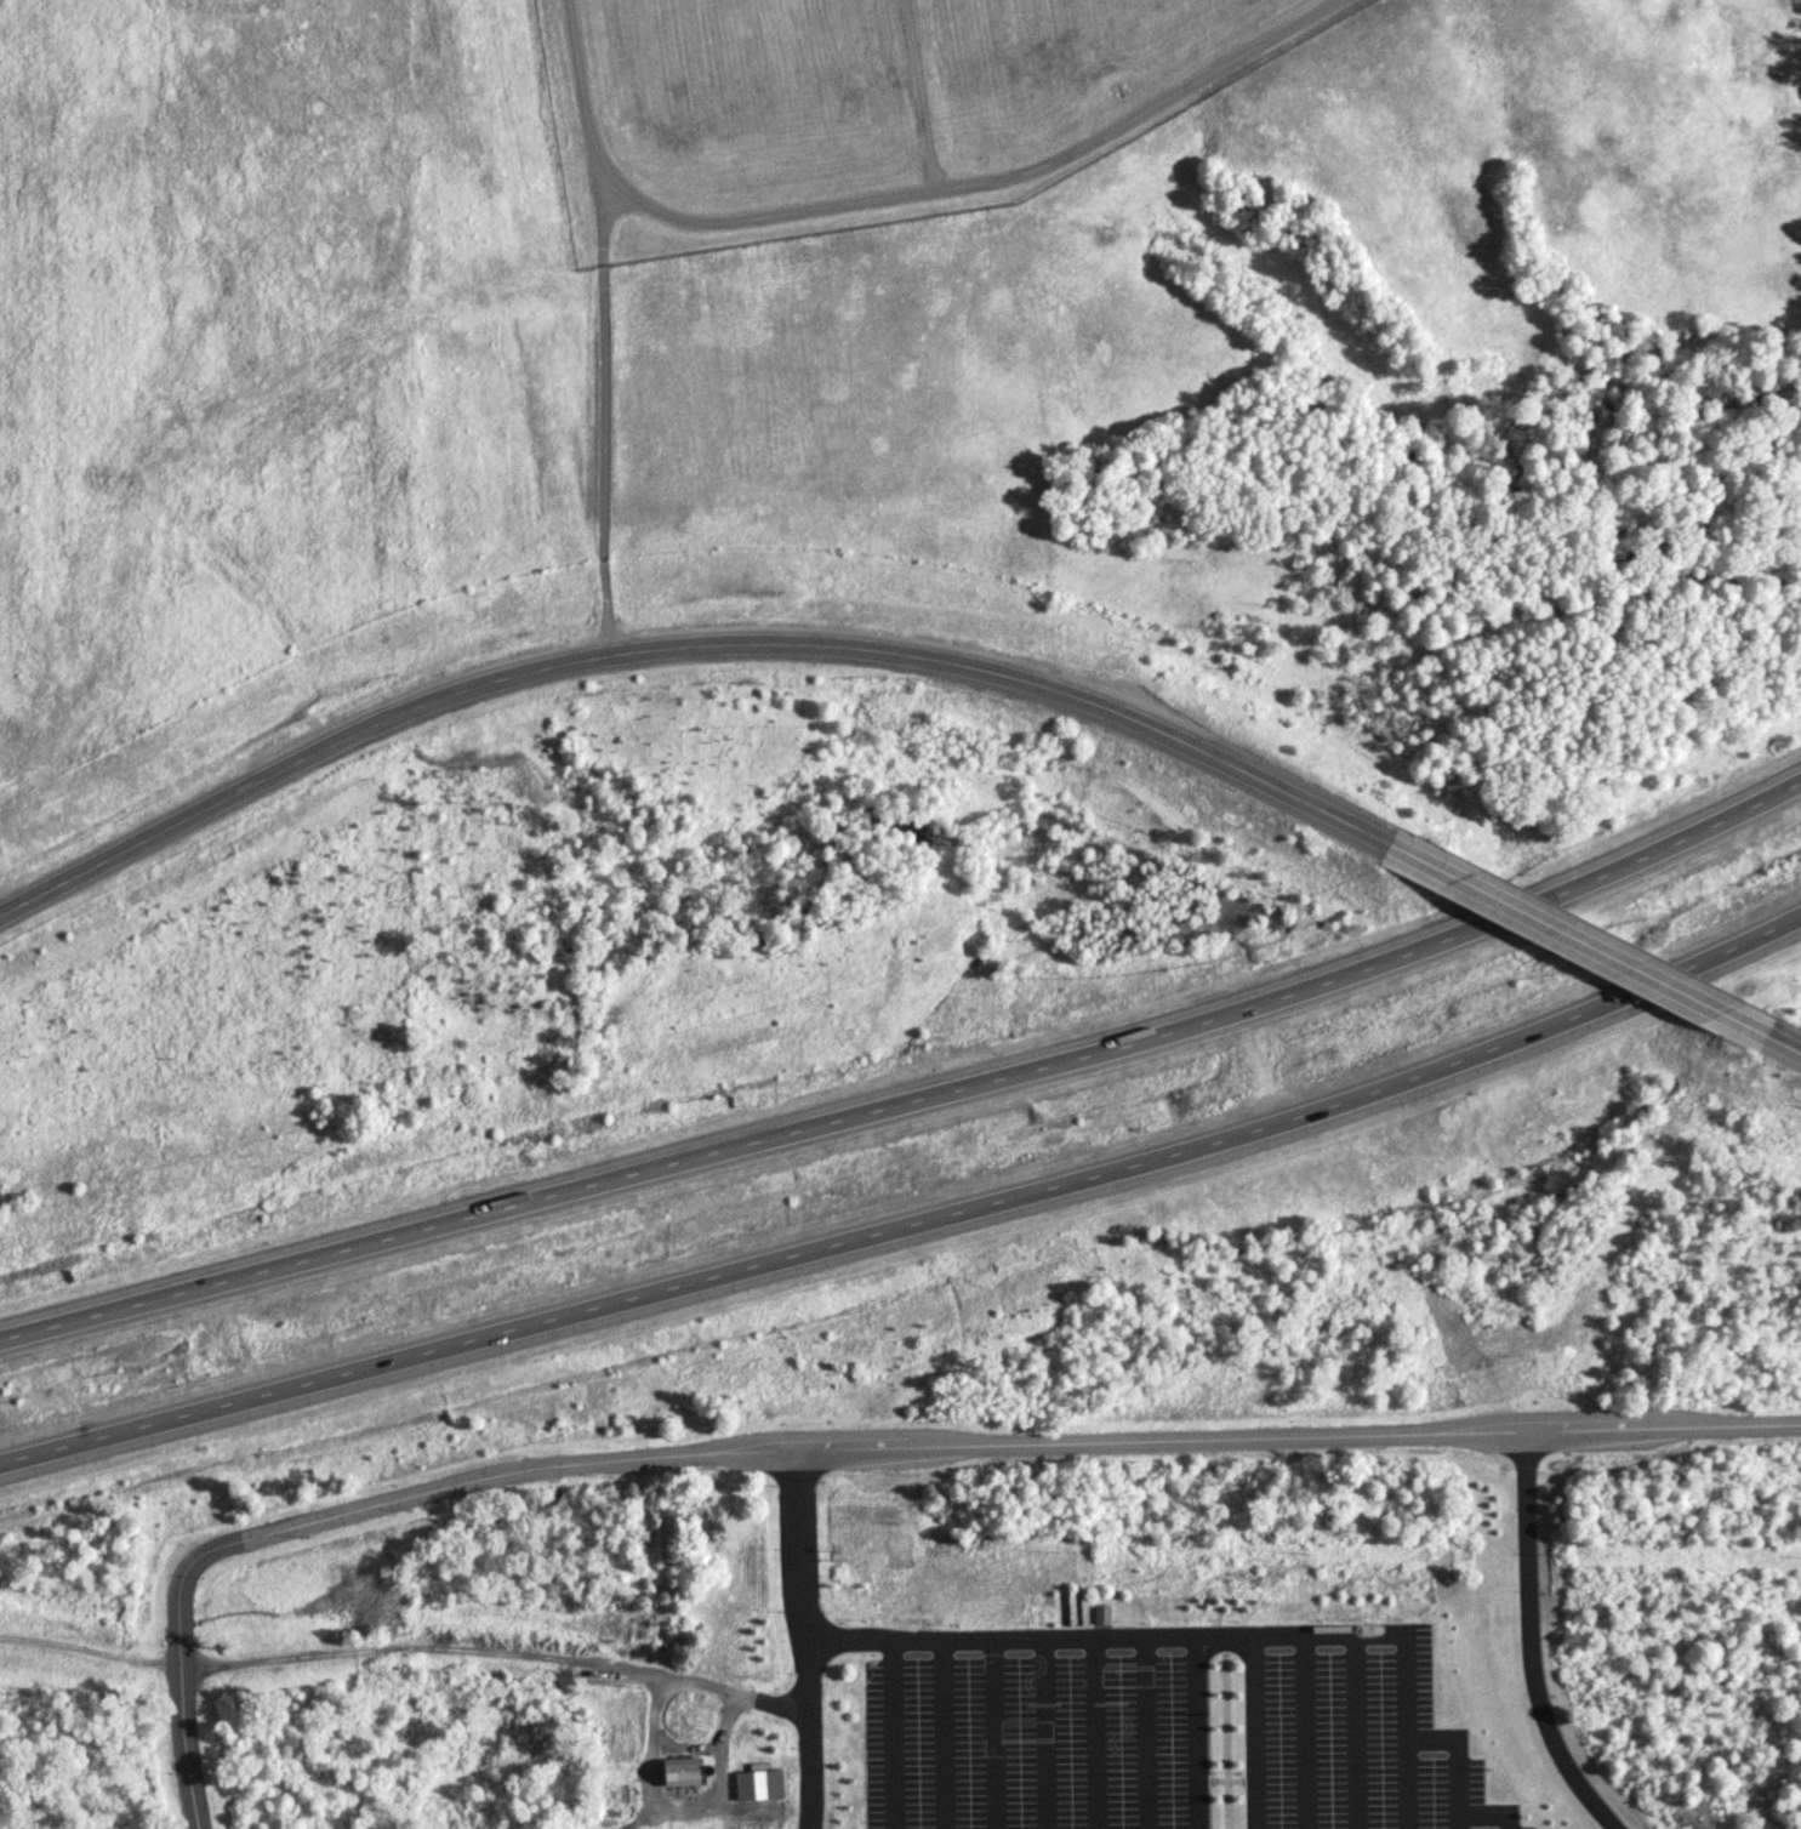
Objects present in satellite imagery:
road: (918, 95)
airport: (864, 106)
road: (901, 194)
road: (602, 416)
road: (696, 649)
road: (1546, 929)
road: (1744, 1029)
road: (914, 1102)
road: (912, 1226)
road: (1180, 1438)
road: (245, 1538)
road: (1104, 1635)
road: (805, 1639)
road: (1529, 1641)
road: (406, 1642)
road: (1195, 1731)
road: (1225, 1731)
road: (1253, 1731)
road: (1305, 1731)
road: (1355, 1731)
road: (1402, 1731)
road: (891, 1732)
road: (945, 1732)
road: (993, 1732)
road: (1044, 1732)
road: (1094, 1732)
road: (1145, 1732)
parking lot: (1170, 1740)
road: (1454, 1756)
building: (682, 1771)
building: (759, 1784)
road: (673, 1805)
road: (1489, 1812)

